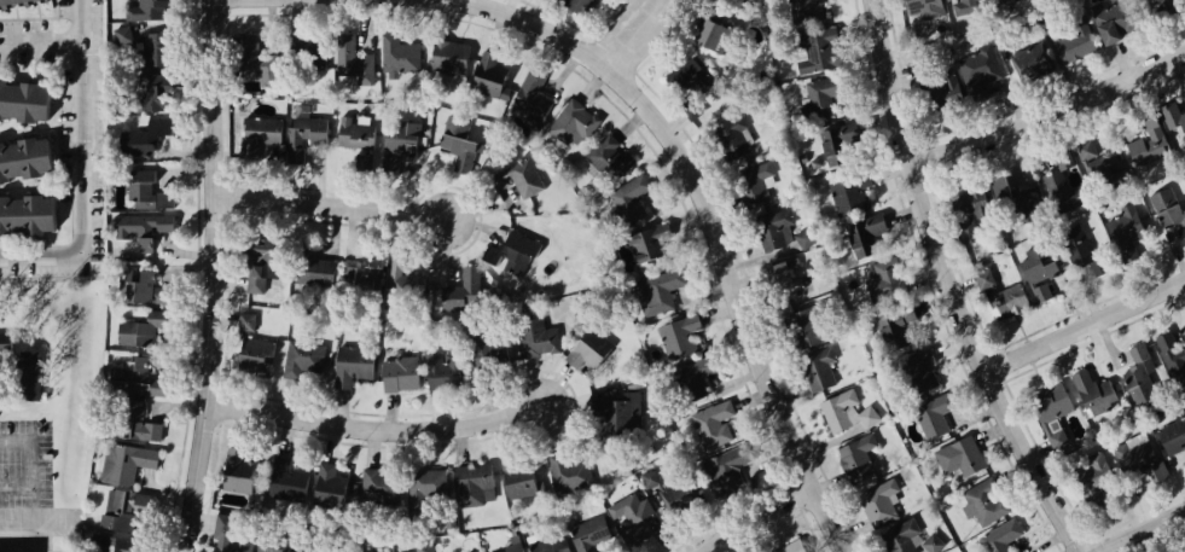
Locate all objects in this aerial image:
building: (5, 0)
building: (552, 0)
building: (1006, 1)
building: (963, 5)
building: (925, 7)
building: (145, 10)
building: (802, 11)
building: (1168, 11)
building: (581, 12)
building: (1102, 22)
building: (702, 31)
building: (123, 36)
road: (634, 36)
road: (36, 39)
building: (1073, 43)
building: (151, 50)
building: (306, 51)
building: (396, 53)
building: (809, 53)
building: (1033, 56)
building: (446, 57)
building: (252, 59)
building: (352, 60)
building: (976, 68)
building: (923, 71)
building: (486, 74)
building: (679, 86)
building: (152, 92)
building: (946, 93)
building: (825, 95)
building: (530, 98)
building: (1172, 109)
building: (19, 110)
road: (1052, 115)
building: (1143, 117)
building: (573, 122)
building: (302, 132)
building: (257, 133)
building: (354, 134)
building: (730, 136)
building: (140, 138)
building: (396, 139)
building: (455, 141)
building: (840, 143)
building: (1082, 151)
building: (606, 158)
building: (802, 158)
building: (19, 159)
building: (364, 162)
building: (876, 162)
building: (997, 174)
building: (1053, 174)
road: (85, 175)
building: (750, 175)
building: (516, 178)
building: (145, 191)
building: (628, 197)
building: (848, 197)
building: (1015, 201)
building: (959, 205)
road: (335, 207)
building: (1164, 207)
building: (23, 213)
road: (716, 225)
building: (771, 227)
building: (1121, 228)
building: (134, 231)
building: (860, 232)
building: (965, 234)
building: (804, 239)
building: (1068, 245)
building: (650, 248)
building: (509, 250)
building: (259, 261)
building: (372, 268)
building: (309, 272)
building: (1035, 274)
road: (221, 277)
building: (779, 281)
building: (405, 283)
building: (873, 283)
building: (140, 286)
road: (955, 286)
building: (459, 290)
building: (656, 290)
building: (1004, 301)
building: (246, 321)
road: (1087, 325)
building: (140, 326)
building: (802, 327)
building: (893, 329)
building: (535, 336)
building: (676, 336)
building: (489, 341)
building: (2, 342)
building: (585, 348)
building: (1137, 353)
building: (251, 355)
building: (1172, 356)
building: (301, 358)
building: (350, 365)
building: (443, 368)
building: (817, 370)
building: (918, 371)
building: (396, 373)
building: (24, 374)
building: (695, 374)
building: (1137, 377)
building: (133, 378)
building: (1090, 393)
building: (1046, 409)
building: (843, 412)
building: (615, 416)
building: (931, 416)
building: (132, 422)
building: (709, 425)
road: (377, 428)
building: (1172, 435)
building: (855, 457)
building: (959, 457)
building: (1142, 457)
building: (123, 461)
road: (31, 464)
building: (722, 469)
building: (234, 471)
parking lot: (27, 473)
building: (569, 473)
building: (654, 476)
building: (1092, 478)
building: (285, 482)
building: (471, 482)
building: (518, 482)
building: (326, 486)
building: (379, 486)
building: (425, 489)
building: (675, 495)
building: (982, 502)
building: (879, 504)
building: (122, 509)
building: (631, 517)
road: (763, 517)
road: (41, 529)
road: (1142, 531)
building: (588, 534)
building: (228, 538)
building: (901, 538)
building: (1000, 538)
building: (110, 544)
building: (277, 544)
building: (548, 544)
building: (933, 544)
building: (515, 545)
building: (1179, 546)
building: (320, 547)
building: (424, 547)
building: (789, 547)
building: (494, 550)
building: (360, 551)

